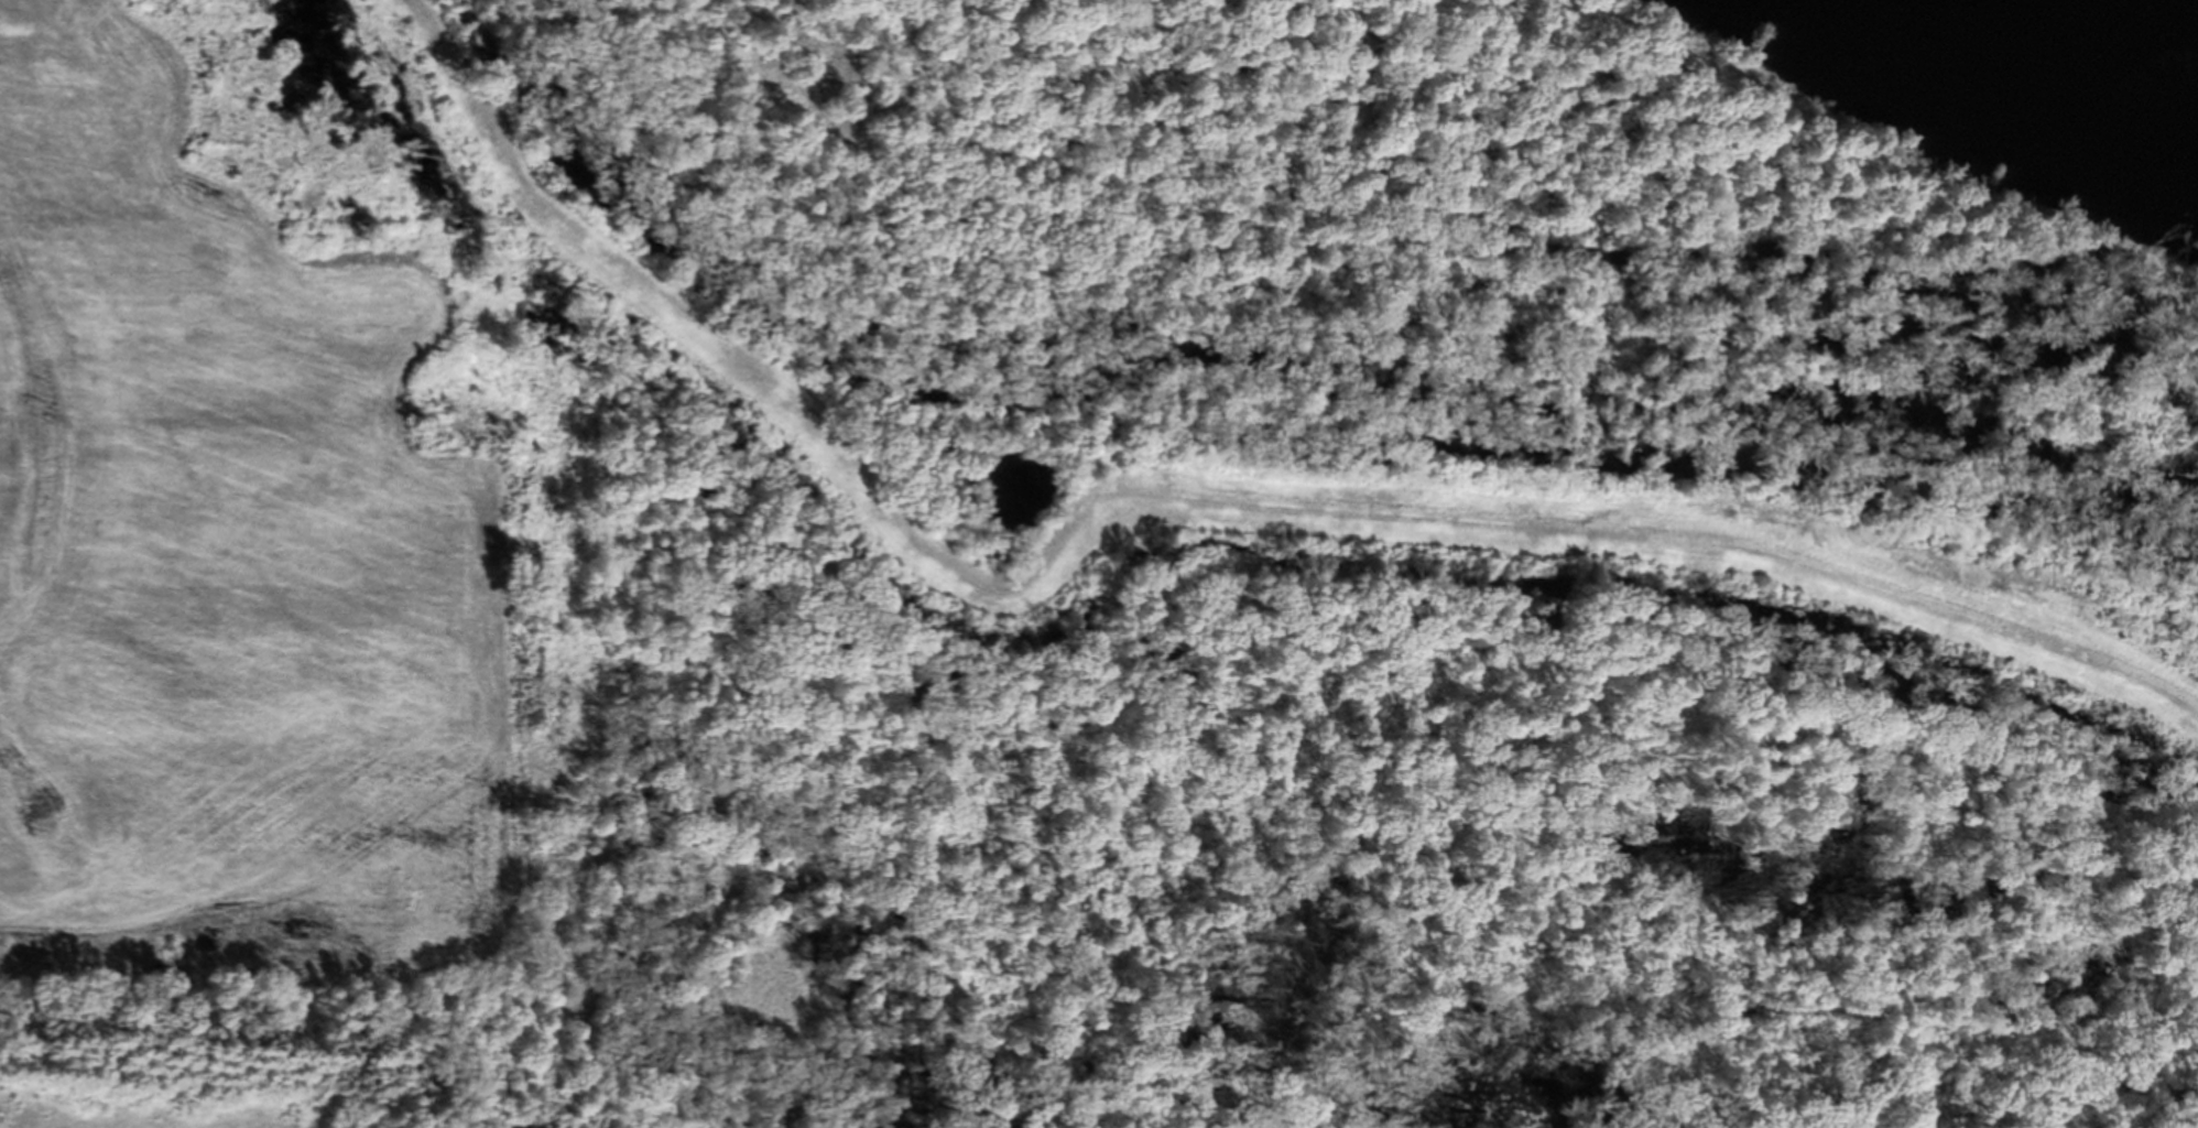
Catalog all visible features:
river: (2080, 64)
road: (1177, 512)

